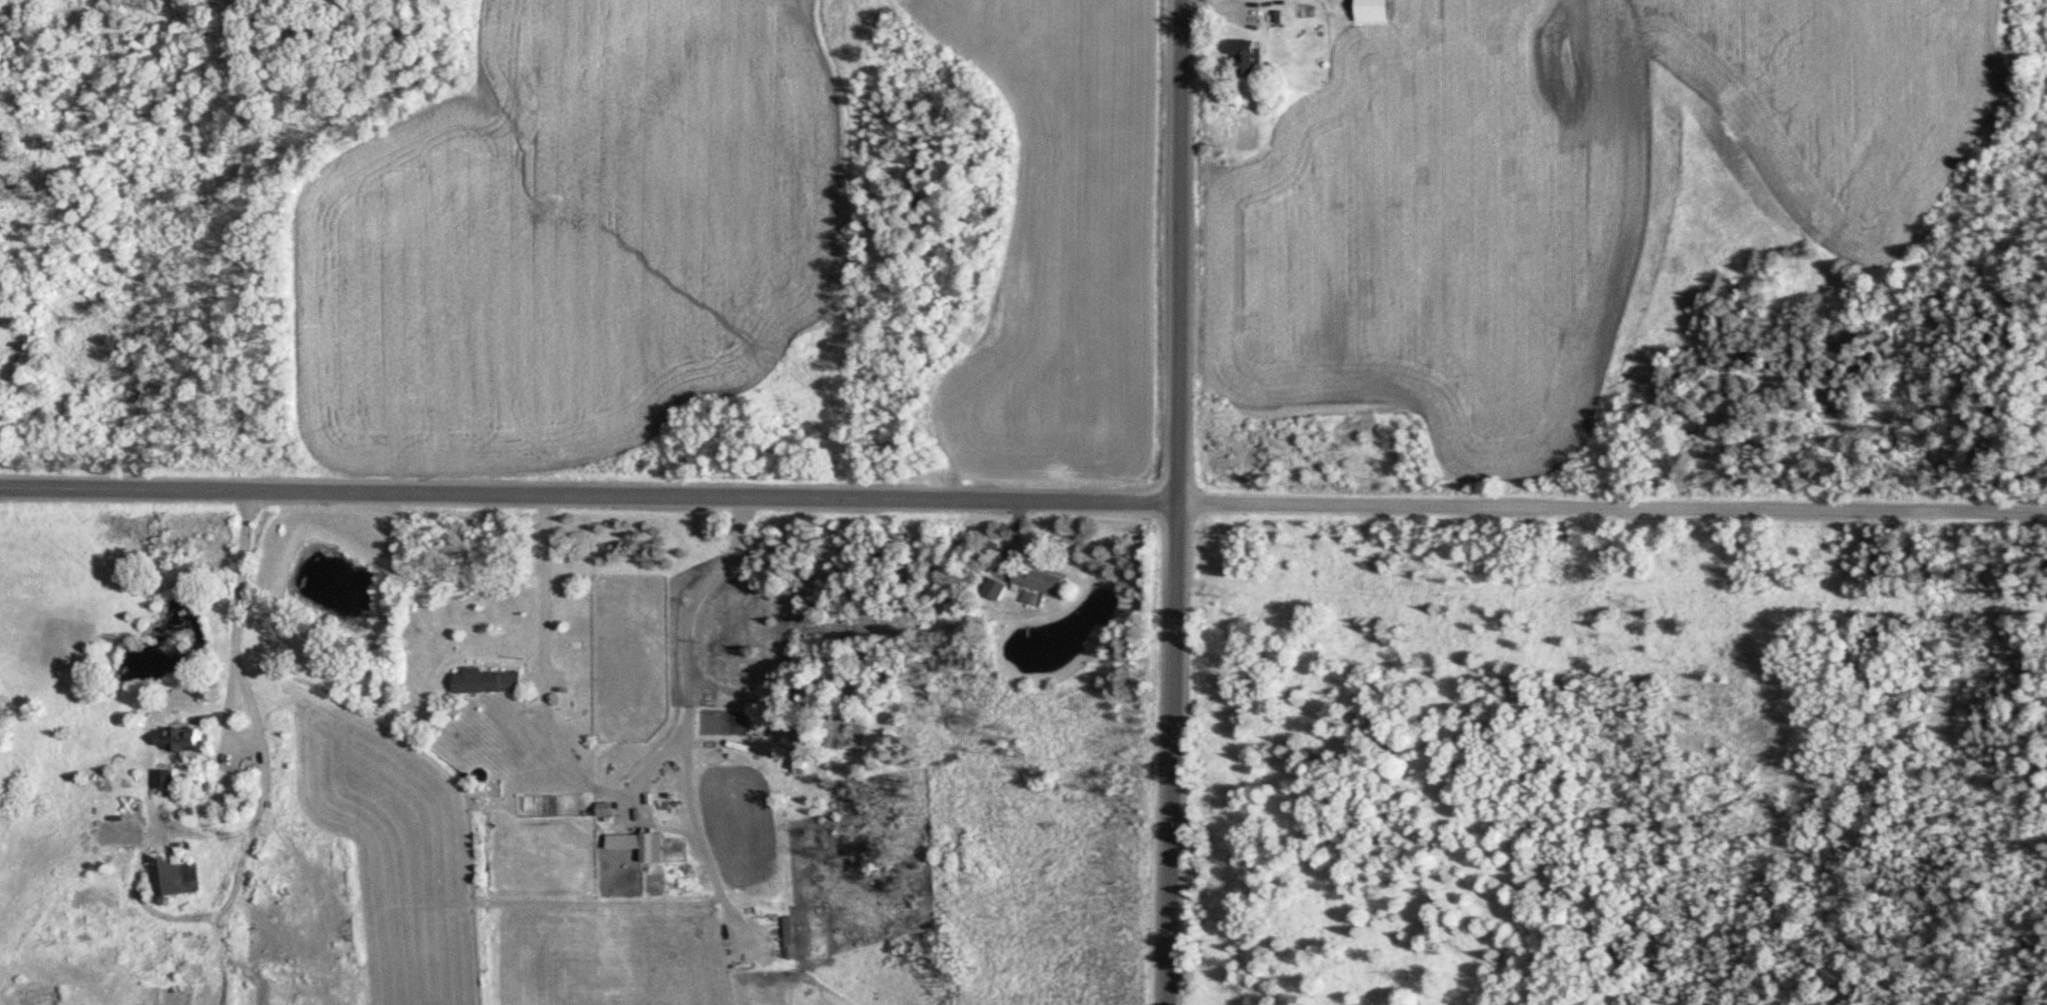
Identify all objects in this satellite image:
building: (1379, 11)
building: (1252, 56)
road: (1179, 251)
road: (588, 493)
road: (1612, 508)
building: (1042, 580)
building: (491, 681)
building: (185, 740)
road: (1172, 754)
building: (165, 780)
building: (178, 876)

